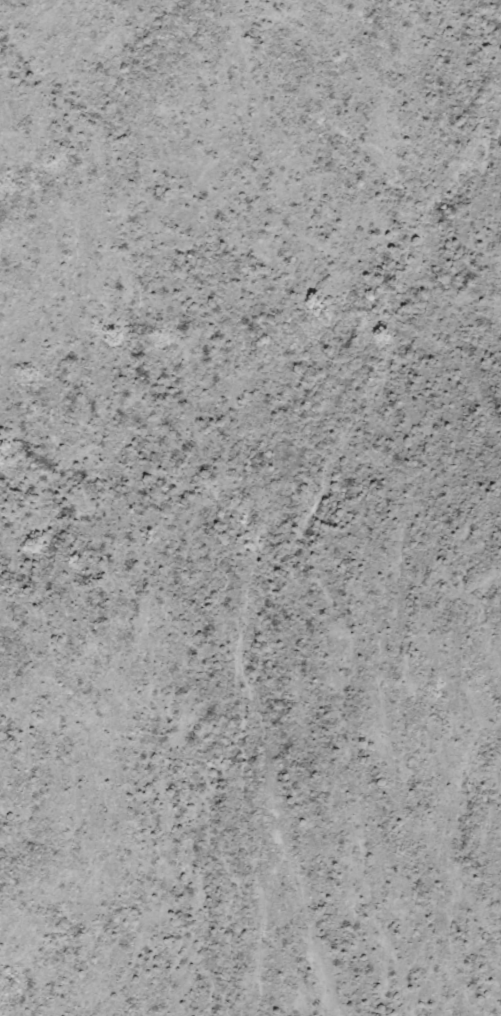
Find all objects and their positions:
road: (235, 598)

